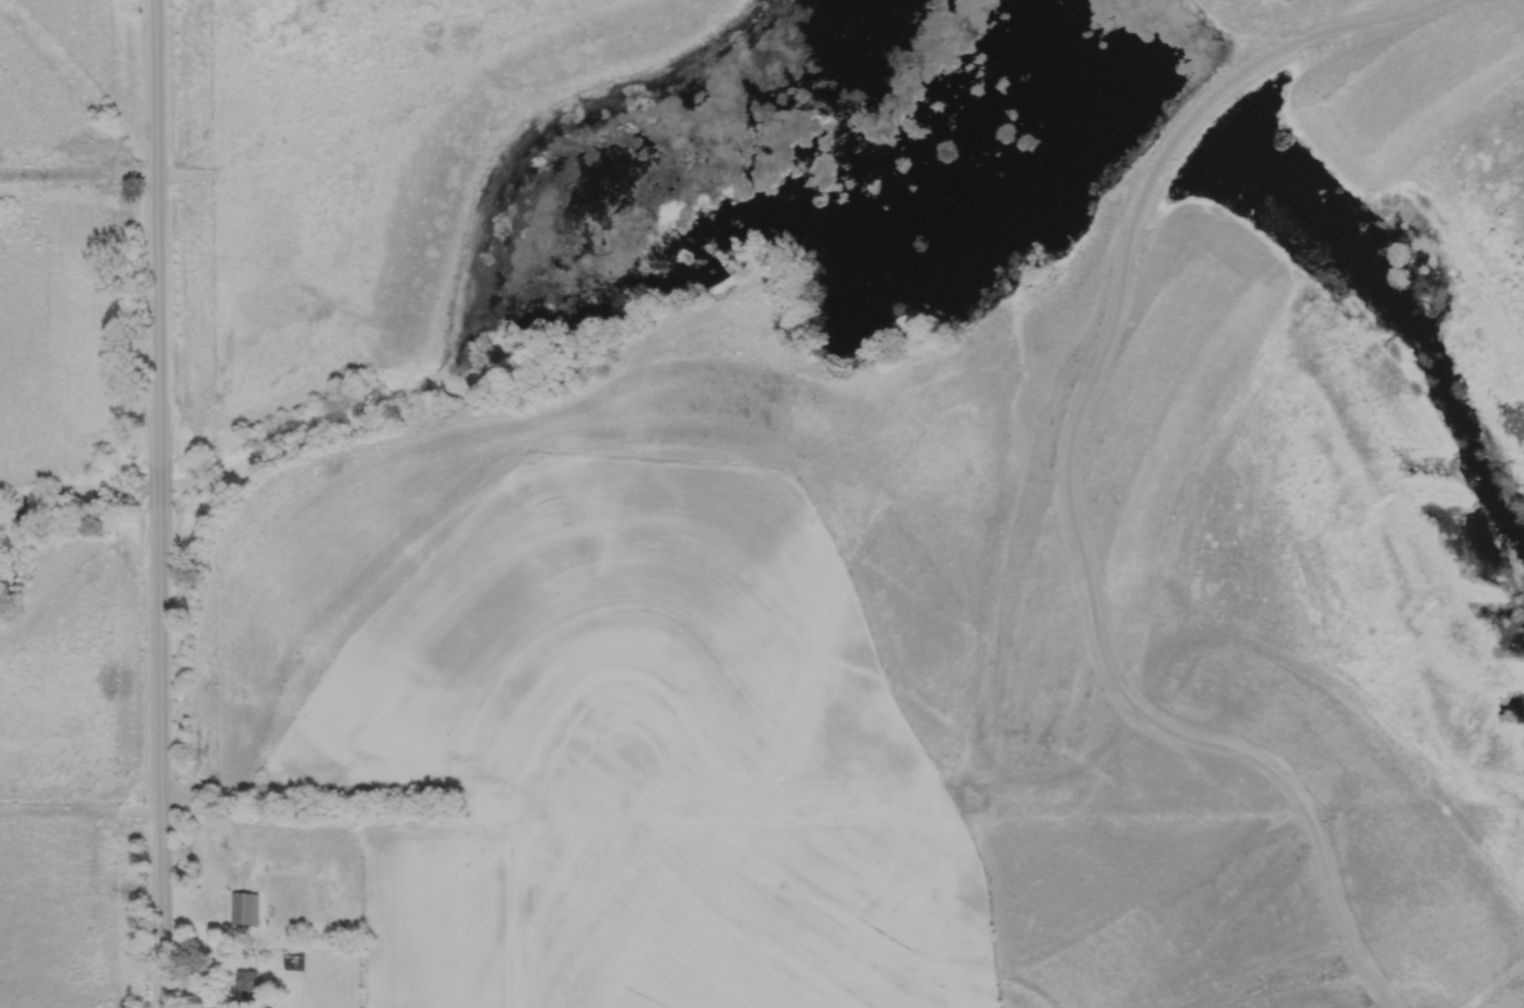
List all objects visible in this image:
road: (1521, 1)
road: (78, 175)
road: (157, 232)
park: (940, 410)
road: (1068, 476)
road: (161, 483)
road: (162, 755)
building: (263, 853)
building: (320, 878)
building: (242, 909)
road: (1493, 984)
building: (247, 988)

